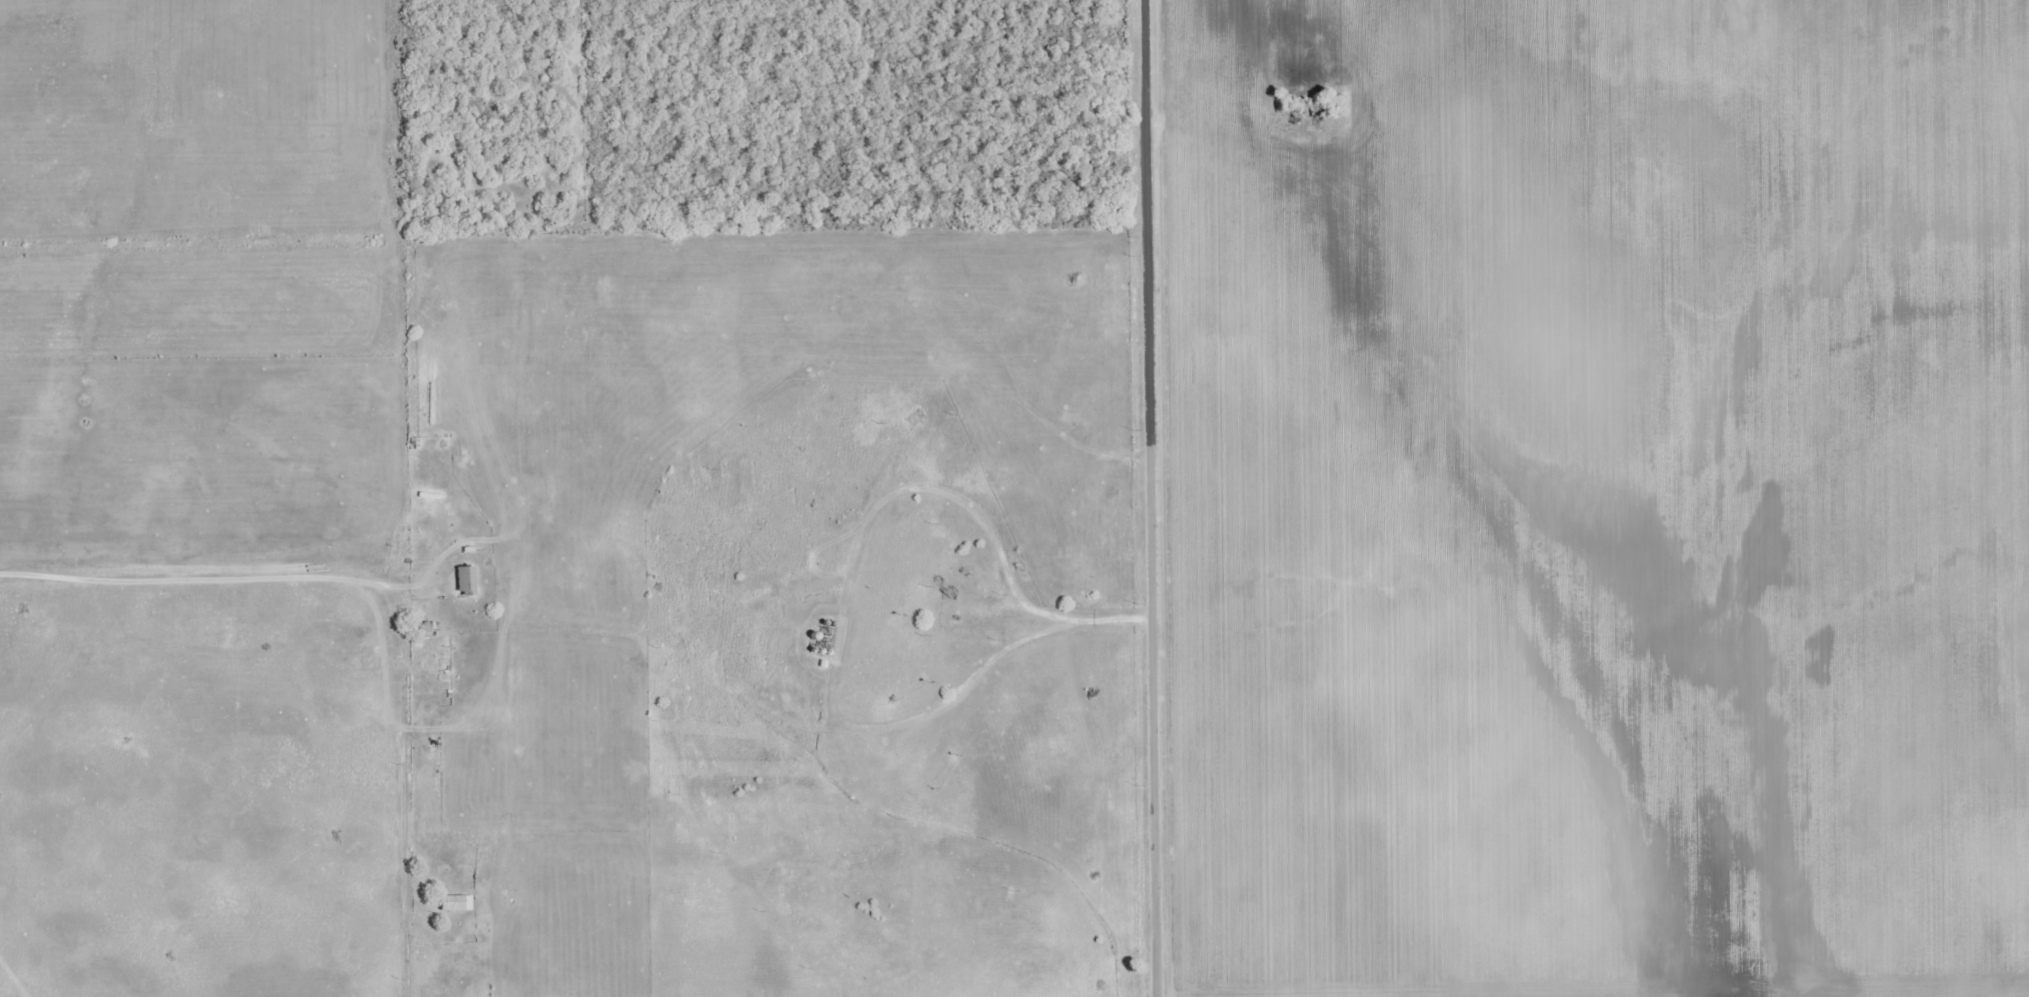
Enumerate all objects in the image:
road: (1149, 498)
road: (381, 606)
road: (524, 702)

